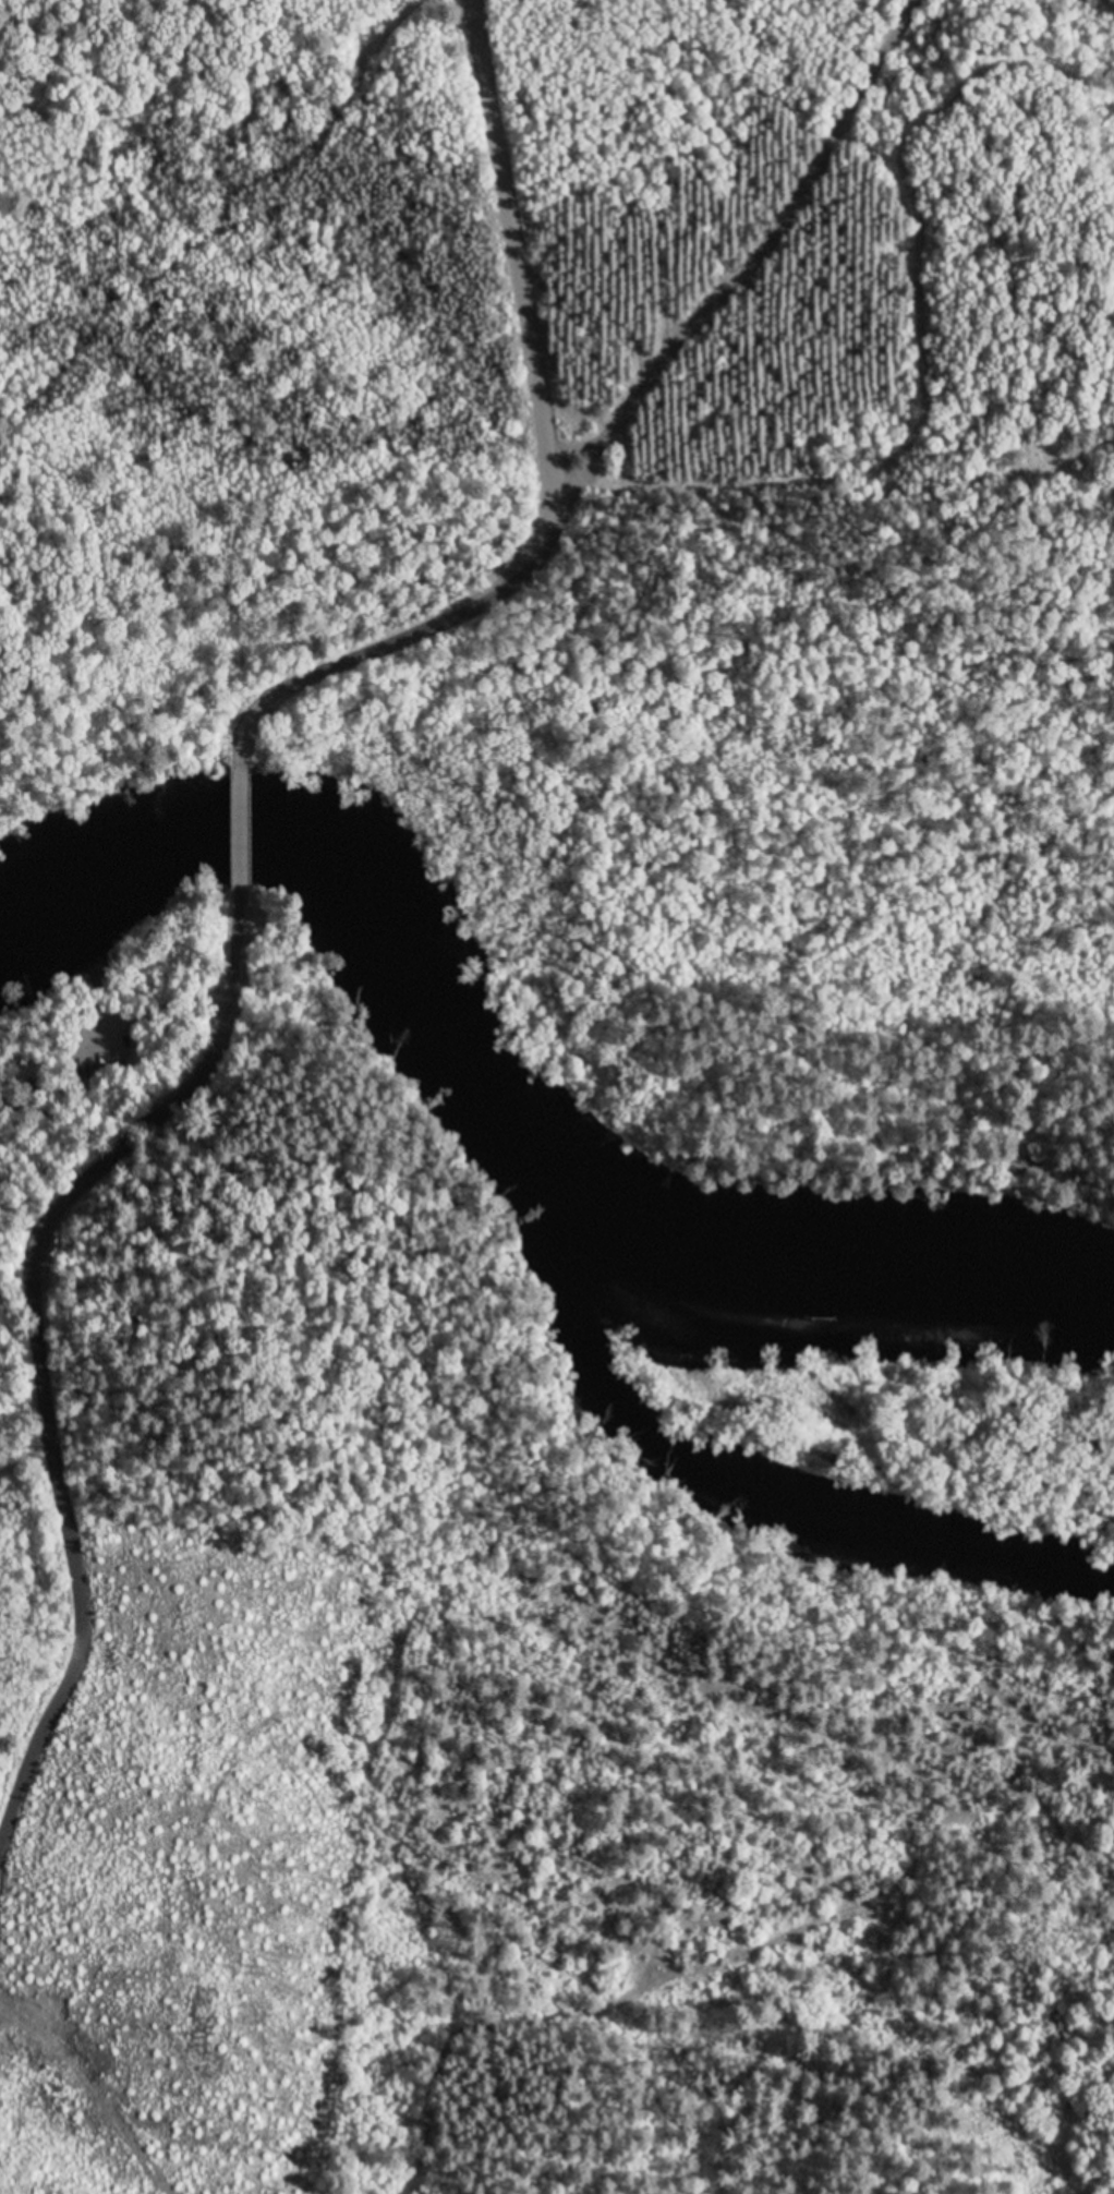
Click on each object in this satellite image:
road: (740, 251)
road: (556, 462)
road: (241, 819)
river: (509, 1065)
road: (41, 1347)

